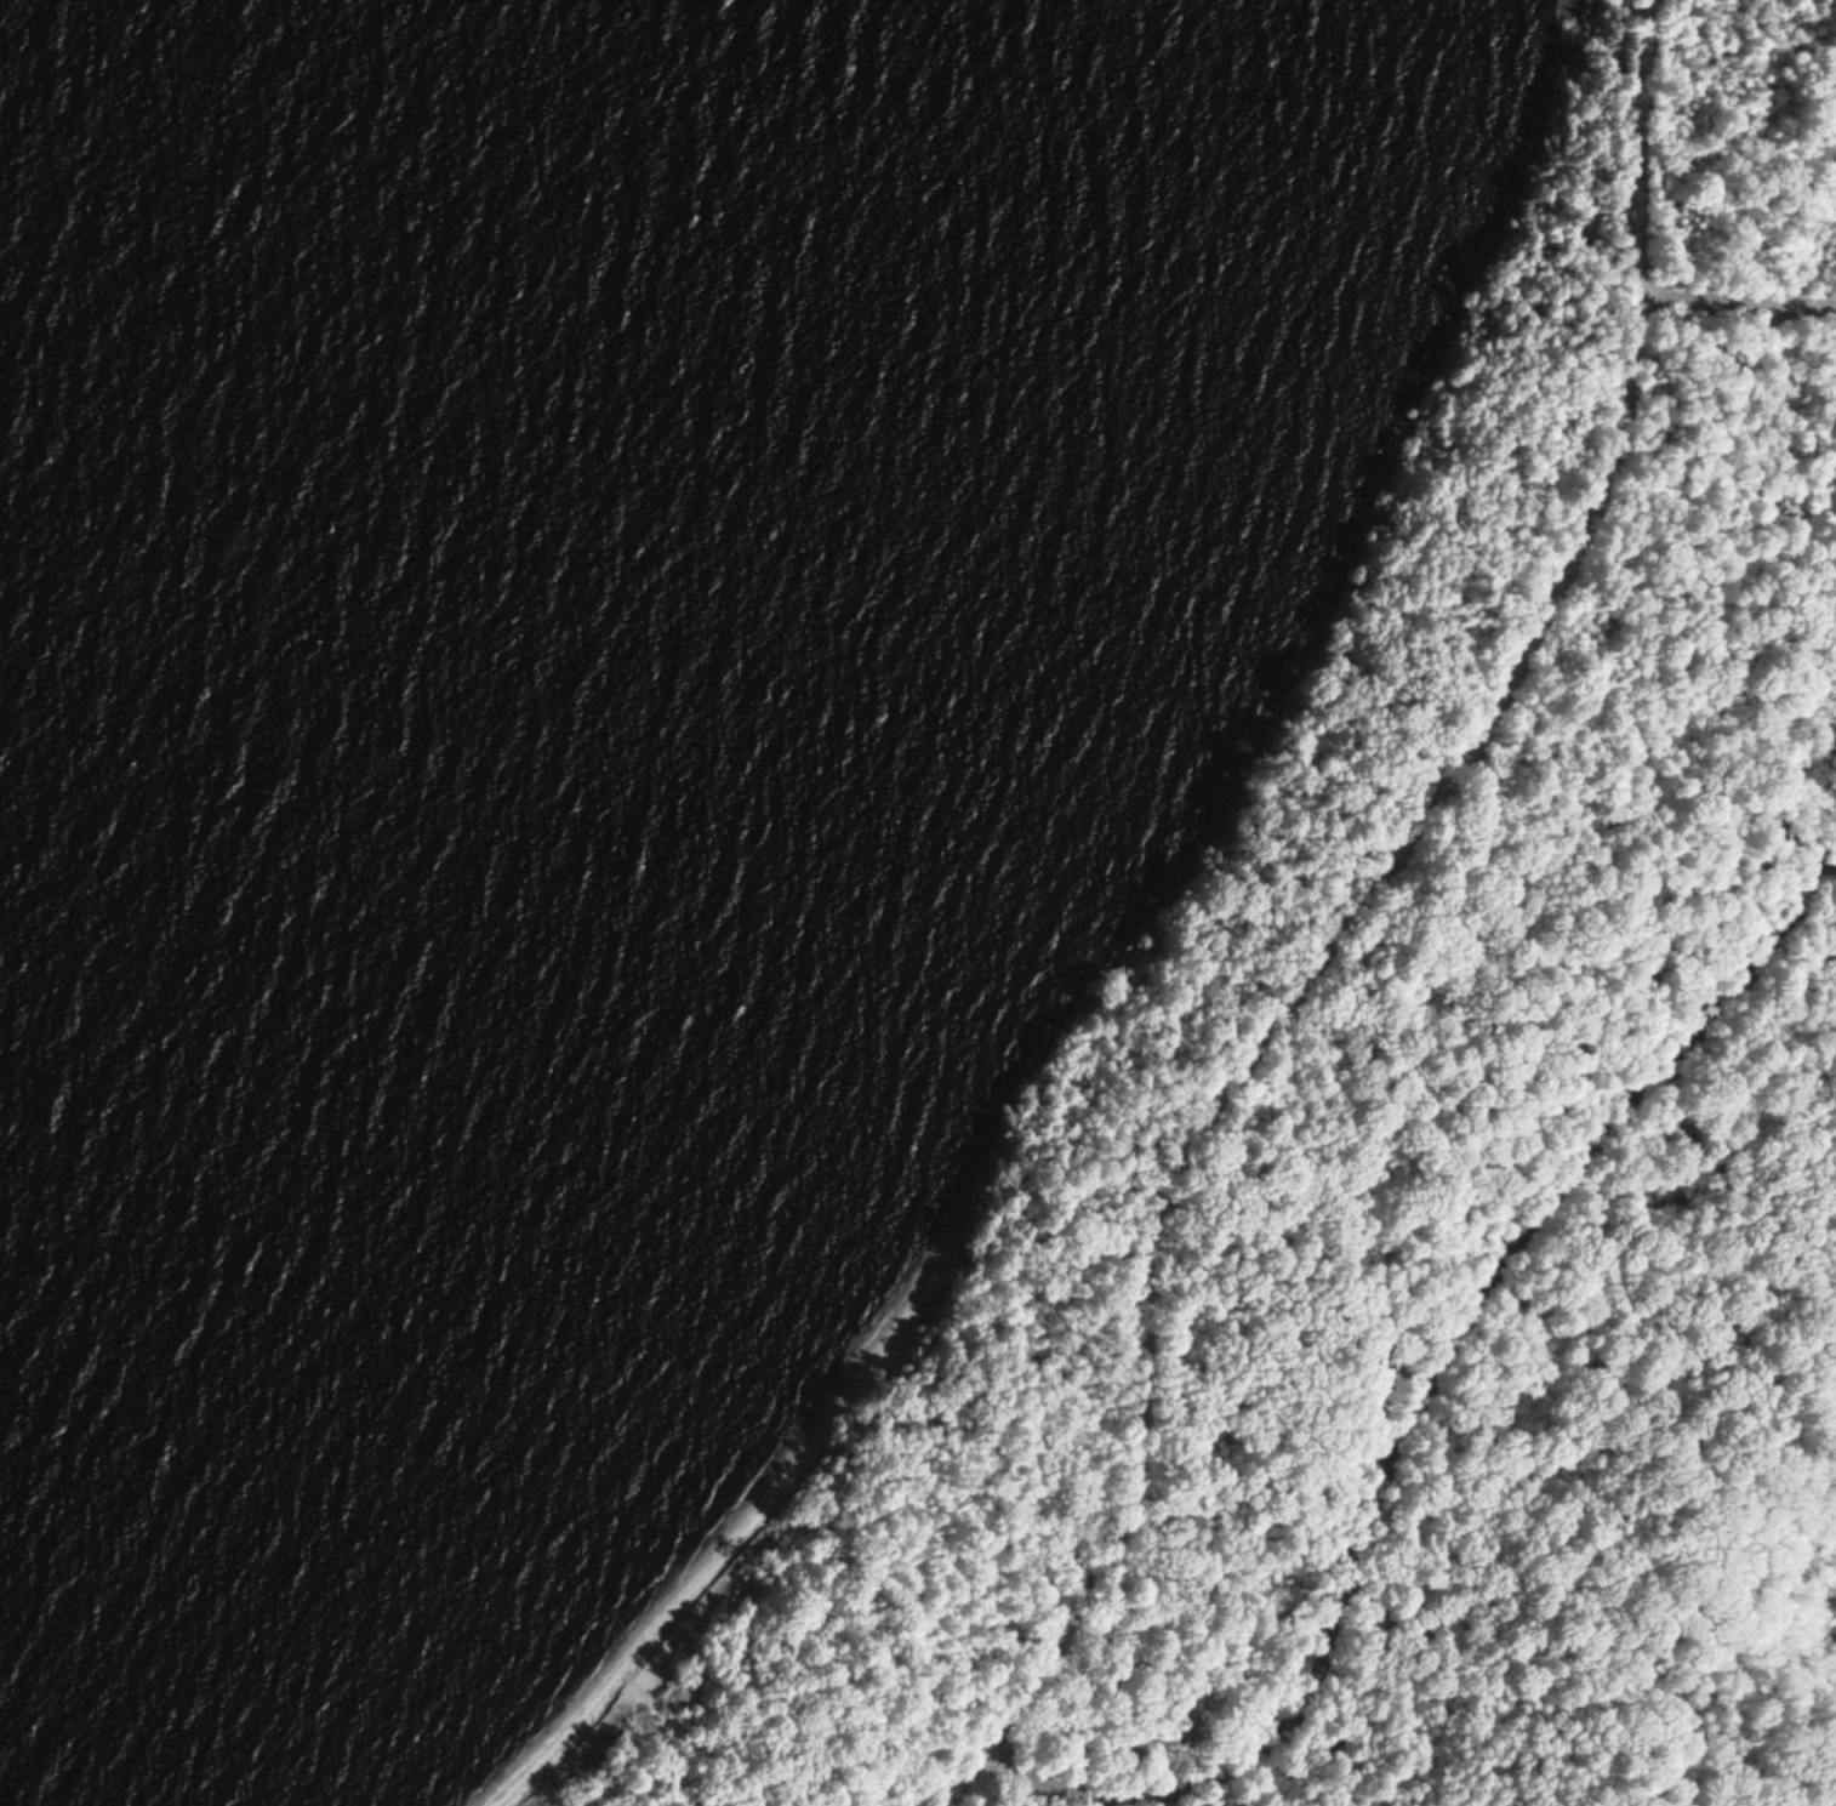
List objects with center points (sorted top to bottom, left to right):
road: (1734, 306)
road: (1345, 919)
park: (1374, 1126)
road: (1414, 1397)
road: (1663, 1568)
road: (1619, 1789)

